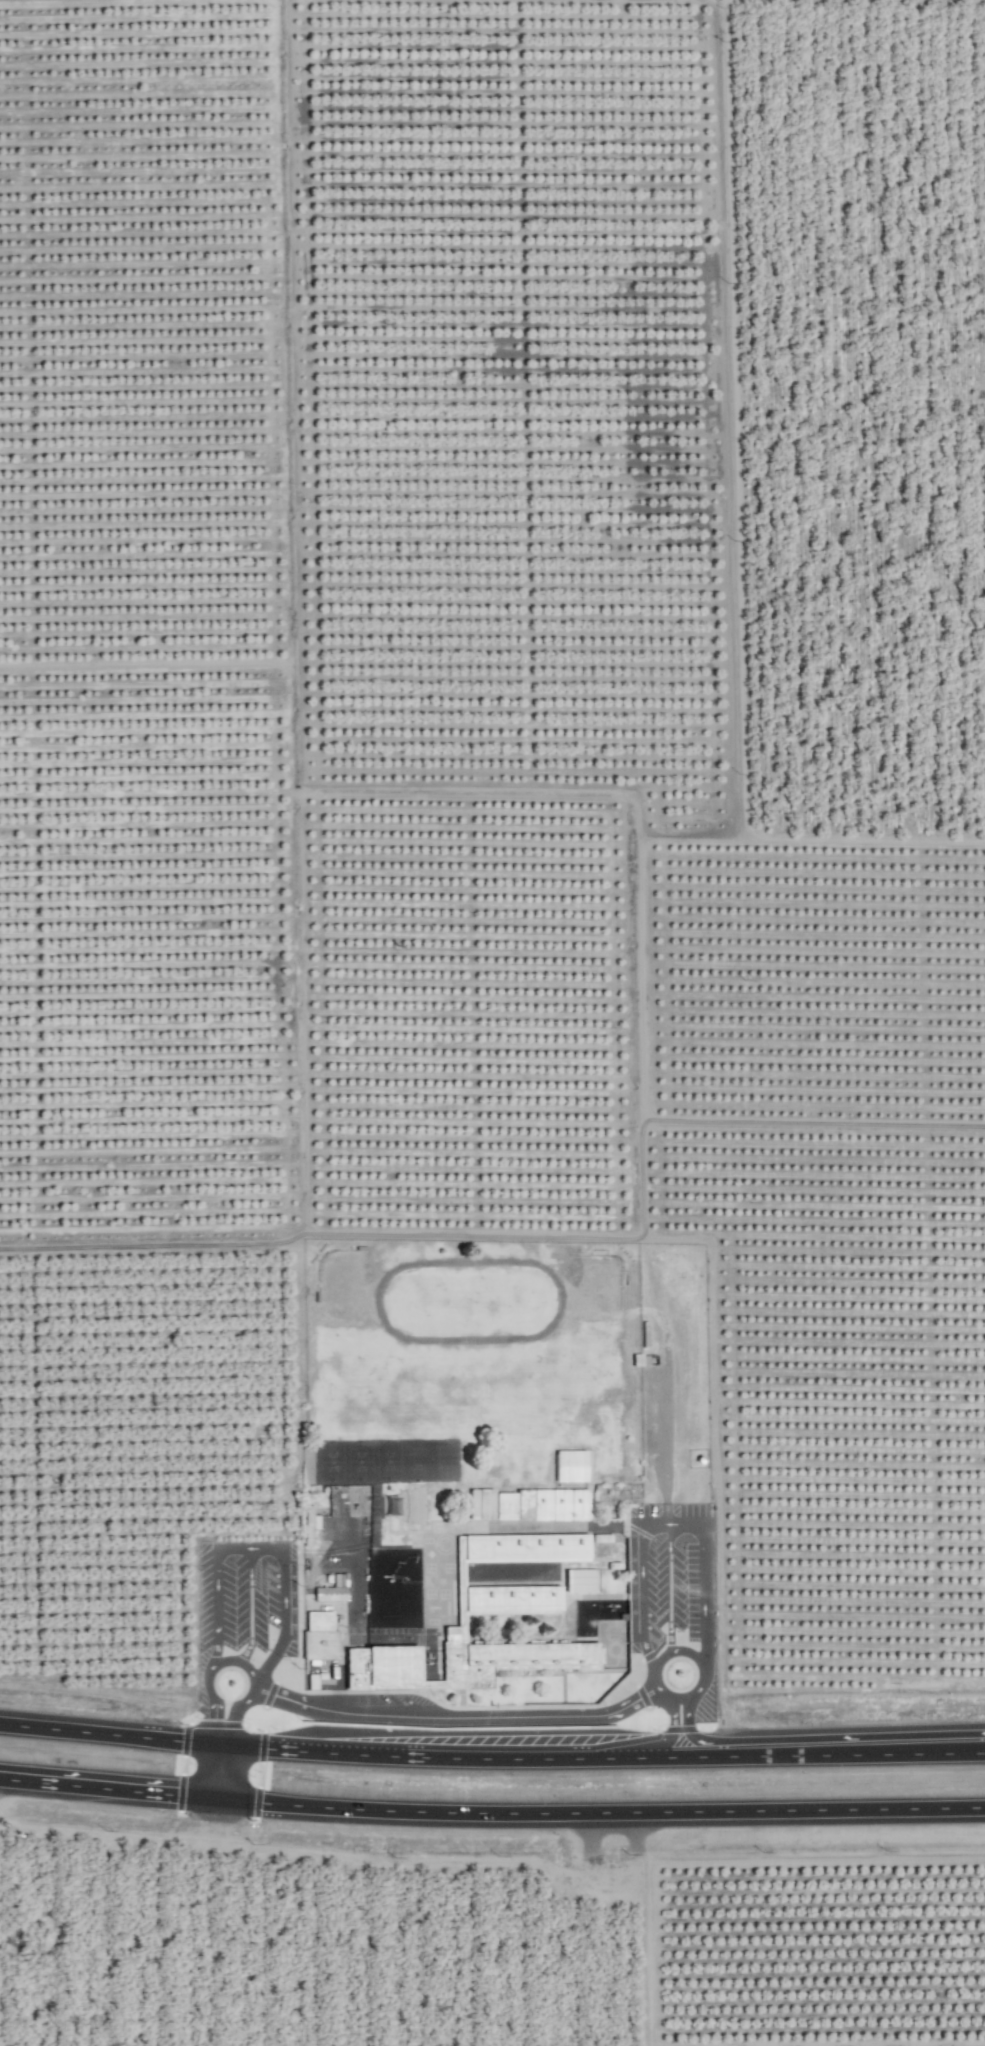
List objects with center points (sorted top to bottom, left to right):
crop: (494, 964)
building: (569, 1466)
building: (480, 1504)
building: (541, 1505)
road: (672, 1524)
building: (308, 1525)
road: (261, 1548)
building: (521, 1548)
building: (580, 1581)
road: (669, 1588)
building: (331, 1590)
road: (249, 1606)
building: (319, 1637)
building: (472, 1645)
road: (210, 1671)
road: (657, 1689)
road: (235, 1709)
road: (457, 1717)
road: (672, 1732)
road: (688, 1732)
traffic signals: (221, 1742)
road: (491, 1755)
road: (219, 1765)
traffic signals: (218, 1798)
road: (491, 1812)

